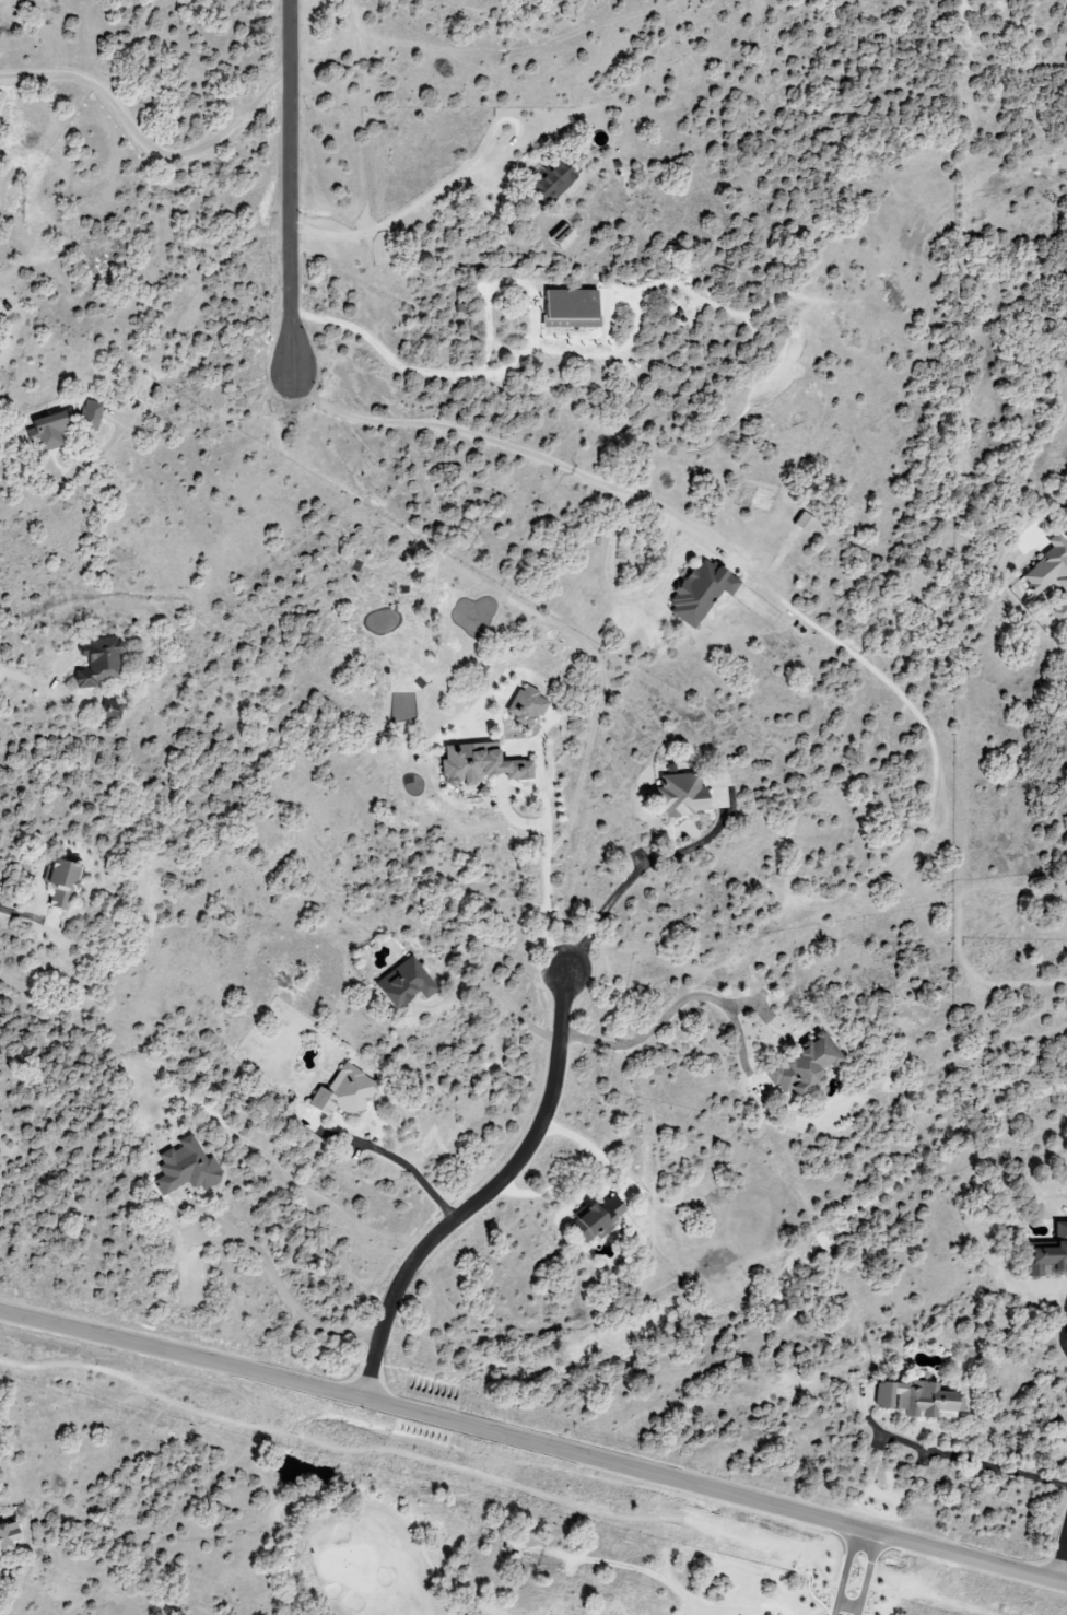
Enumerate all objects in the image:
road: (146, 141)
building: (555, 183)
road: (290, 186)
road: (400, 210)
building: (566, 236)
building: (575, 309)
road: (501, 368)
building: (92, 414)
building: (49, 432)
road: (508, 448)
road: (38, 500)
building: (800, 522)
building: (1051, 574)
building: (697, 592)
building: (96, 662)
road: (34, 683)
building: (524, 706)
building: (109, 710)
building: (477, 763)
building: (677, 795)
road: (546, 849)
road: (625, 880)
building: (58, 882)
road: (21, 909)
building: (399, 983)
road: (504, 1000)
road: (652, 1029)
building: (804, 1064)
building: (341, 1092)
building: (184, 1168)
road: (420, 1172)
road: (480, 1198)
building: (591, 1220)
building: (1046, 1253)
road: (289, 1292)
road: (1060, 1332)
building: (915, 1400)
road: (533, 1448)
road: (960, 1458)
road: (490, 1482)
building: (10, 1537)
road: (1060, 1557)

